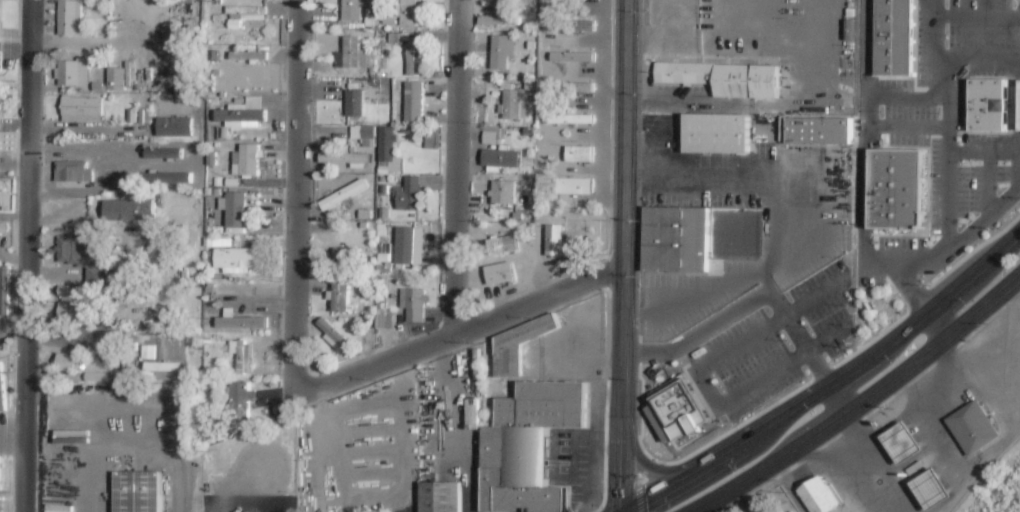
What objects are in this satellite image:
building: (492, 0)
building: (355, 10)
building: (248, 12)
building: (408, 13)
road: (978, 17)
building: (69, 20)
building: (501, 20)
building: (579, 22)
building: (895, 38)
building: (385, 46)
building: (353, 48)
building: (412, 50)
building: (505, 51)
building: (579, 54)
building: (251, 55)
road: (978, 57)
building: (1, 60)
road: (869, 62)
building: (70, 75)
building: (725, 78)
building: (115, 82)
building: (576, 86)
building: (0, 99)
road: (906, 99)
building: (416, 102)
building: (358, 103)
building: (516, 105)
building: (988, 106)
building: (80, 111)
building: (246, 113)
building: (1019, 116)
building: (579, 119)
road: (948, 119)
building: (174, 128)
building: (408, 130)
building: (818, 130)
building: (715, 134)
building: (363, 135)
building: (489, 138)
building: (432, 142)
building: (390, 151)
building: (577, 153)
road: (984, 154)
building: (345, 156)
building: (247, 157)
building: (503, 158)
road: (454, 167)
building: (73, 172)
road: (988, 182)
building: (3, 185)
building: (576, 186)
building: (386, 189)
building: (896, 190)
building: (506, 192)
building: (346, 195)
road: (295, 197)
building: (409, 198)
building: (236, 200)
building: (128, 211)
building: (367, 215)
building: (5, 228)
building: (407, 232)
building: (674, 238)
building: (555, 241)
building: (505, 244)
road: (863, 245)
road: (26, 256)
building: (350, 256)
road: (623, 256)
building: (82, 259)
building: (238, 260)
road: (962, 266)
building: (503, 273)
road: (909, 289)
building: (5, 290)
building: (342, 292)
road: (761, 297)
building: (69, 304)
building: (416, 304)
building: (380, 318)
building: (243, 323)
road: (938, 326)
road: (457, 331)
building: (337, 336)
building: (365, 340)
building: (517, 347)
building: (244, 356)
building: (68, 363)
building: (164, 373)
building: (94, 379)
road: (700, 381)
road: (828, 385)
building: (1, 389)
building: (242, 404)
road: (864, 404)
building: (679, 409)
building: (972, 428)
building: (902, 443)
gas station: (902, 443)
building: (527, 446)
road: (643, 464)
road: (781, 472)
road: (788, 488)
building: (932, 490)
gas station: (932, 490)
building: (138, 492)
building: (817, 496)
building: (440, 497)
road: (707, 508)

